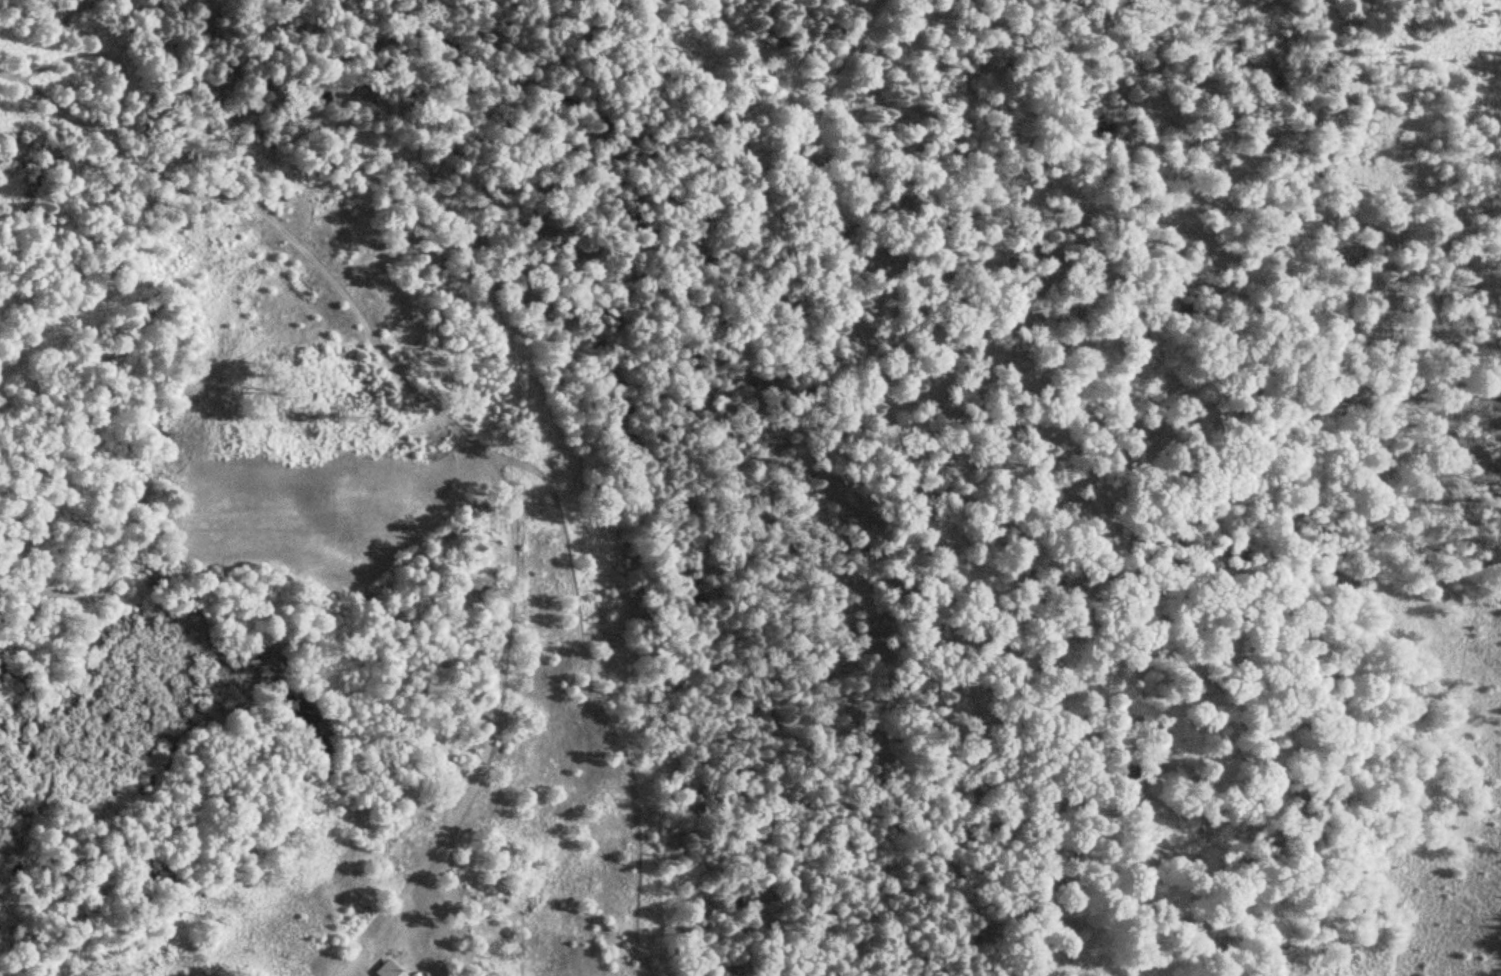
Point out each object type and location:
road: (66, 113)
road: (423, 401)
road: (348, 967)
road: (363, 968)
building: (395, 972)

